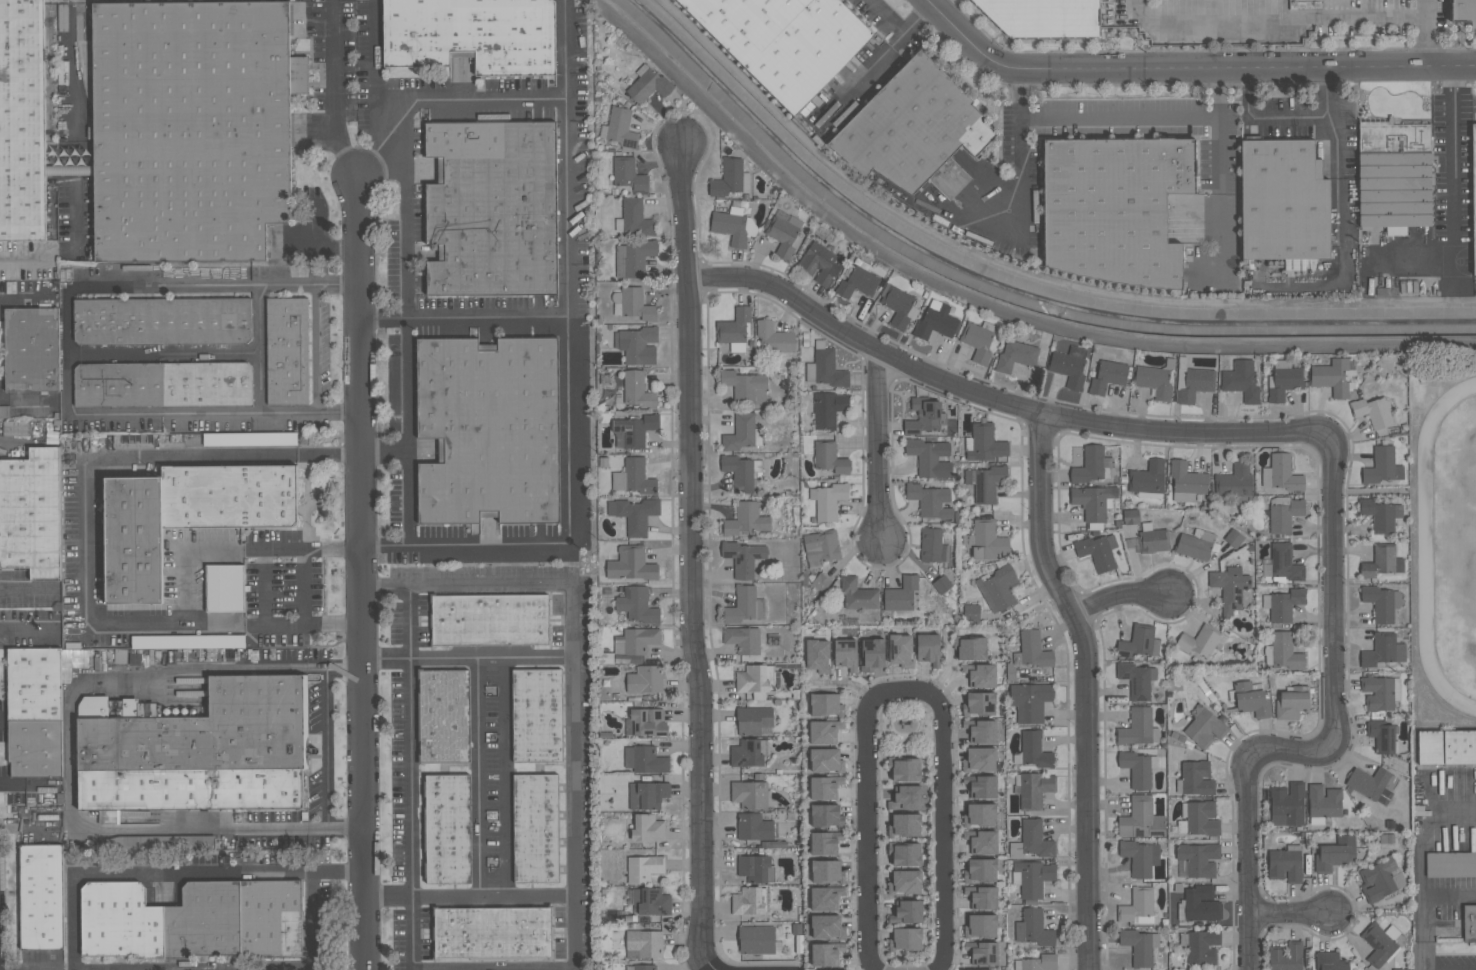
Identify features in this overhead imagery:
building: (1463, 12)
building: (1044, 18)
road: (1277, 18)
road: (901, 24)
road: (1428, 32)
building: (472, 35)
road: (898, 35)
building: (784, 41)
road: (1188, 67)
road: (862, 75)
road: (1329, 76)
building: (648, 84)
road: (336, 92)
road: (437, 92)
road: (1454, 95)
road: (1093, 117)
road: (1265, 117)
railway: (52, 119)
building: (22, 120)
building: (912, 126)
building: (192, 128)
building: (620, 129)
building: (66, 162)
road: (1217, 170)
building: (628, 173)
building: (1394, 176)
building: (730, 177)
road: (1019, 177)
road: (1341, 182)
building: (1473, 195)
building: (1283, 201)
building: (492, 207)
building: (1115, 208)
road: (1452, 216)
building: (634, 218)
building: (734, 226)
building: (784, 234)
building: (633, 258)
road: (23, 260)
building: (820, 263)
building: (1291, 265)
road: (407, 267)
building: (857, 281)
road: (23, 300)
building: (632, 303)
road: (983, 303)
building: (899, 306)
road: (465, 319)
building: (162, 321)
building: (936, 321)
building: (735, 328)
building: (774, 337)
building: (978, 340)
building: (637, 344)
road: (315, 347)
road: (258, 348)
building: (31, 349)
road: (71, 350)
building: (287, 351)
building: (1016, 355)
road: (572, 356)
building: (1069, 366)
building: (825, 367)
building: (1108, 376)
building: (1333, 376)
building: (1282, 379)
building: (1241, 380)
building: (1154, 381)
building: (1191, 381)
building: (163, 383)
building: (745, 386)
building: (637, 390)
road: (994, 398)
road: (26, 405)
building: (828, 408)
building: (1373, 411)
building: (925, 415)
building: (633, 430)
building: (488, 431)
building: (742, 432)
building: (249, 439)
building: (984, 443)
road: (878, 444)
building: (929, 456)
building: (829, 457)
building: (1091, 465)
building: (1382, 465)
building: (738, 472)
building: (1280, 474)
building: (633, 476)
building: (1148, 479)
building: (1187, 481)
building: (986, 482)
building: (1235, 483)
road: (1377, 491)
road: (88, 494)
building: (828, 499)
building: (930, 500)
building: (1094, 503)
building: (31, 513)
building: (634, 514)
building: (1283, 514)
building: (1380, 514)
building: (185, 515)
building: (1131, 516)
building: (745, 519)
building: (1152, 538)
building: (1233, 538)
building: (986, 540)
building: (1197, 544)
building: (933, 545)
road: (385, 546)
building: (821, 547)
road: (190, 549)
building: (1097, 550)
building: (744, 557)
road: (690, 559)
building: (1382, 561)
building: (1284, 562)
building: (630, 563)
road: (360, 575)
building: (821, 582)
building: (941, 584)
road: (266, 586)
road: (301, 586)
building: (224, 587)
building: (998, 588)
building: (1230, 588)
road: (27, 589)
building: (901, 593)
building: (858, 594)
road: (1118, 594)
building: (1382, 602)
building: (637, 604)
building: (1283, 604)
building: (744, 605)
building: (971, 612)
building: (489, 619)
road: (27, 627)
building: (742, 639)
building: (635, 640)
building: (202, 641)
building: (1138, 642)
building: (1203, 642)
building: (928, 648)
building: (970, 648)
building: (900, 650)
building: (1032, 650)
building: (1383, 650)
building: (1283, 651)
building: (872, 653)
building: (845, 654)
building: (818, 655)
road: (468, 659)
road: (212, 668)
road: (575, 668)
building: (980, 674)
building: (645, 679)
building: (1137, 679)
building: (757, 680)
road: (1085, 686)
road: (903, 688)
building: (1380, 692)
building: (1250, 698)
building: (1030, 700)
building: (1291, 701)
building: (979, 703)
building: (825, 704)
building: (37, 708)
building: (443, 715)
building: (537, 716)
building: (754, 720)
building: (649, 721)
building: (1138, 727)
building: (1204, 727)
building: (981, 730)
building: (824, 731)
building: (1382, 736)
road: (1332, 740)
road: (325, 746)
building: (1446, 747)
building: (199, 750)
building: (1033, 750)
building: (748, 752)
building: (645, 759)
building: (979, 759)
building: (826, 760)
building: (1138, 768)
building: (905, 769)
road: (409, 776)
road: (505, 776)
road: (479, 777)
building: (1195, 778)
building: (1371, 784)
building: (981, 785)
building: (825, 787)
building: (1032, 788)
building: (647, 794)
building: (749, 794)
building: (906, 797)
building: (1323, 802)
building: (1287, 804)
building: (980, 814)
building: (825, 815)
building: (1141, 818)
building: (1199, 818)
building: (905, 825)
building: (753, 826)
building: (647, 827)
building: (447, 828)
building: (535, 828)
road: (250, 829)
building: (1032, 840)
building: (981, 841)
building: (182, 842)
building: (825, 842)
building: (905, 853)
building: (1335, 853)
building: (1139, 857)
building: (1199, 859)
building: (1285, 863)
building: (1450, 863)
building: (644, 867)
building: (756, 868)
building: (980, 869)
building: (826, 871)
road: (174, 875)
building: (1032, 877)
building: (1380, 879)
building: (905, 881)
road: (470, 895)
building: (41, 896)
building: (982, 897)
building: (825, 898)
building: (749, 900)
building: (650, 901)
building: (1198, 904)
road: (1425, 905)
building: (1137, 906)
building: (909, 910)
road: (1289, 912)
building: (193, 920)
road: (310, 921)
building: (1469, 923)
building: (981, 925)
building: (827, 926)
building: (1033, 927)
building: (493, 932)
building: (906, 938)
building: (756, 939)
building: (643, 943)
building: (1380, 943)
building: (1139, 945)
building: (1200, 945)
building: (983, 952)
building: (826, 953)
building: (1285, 956)
building: (1330, 961)
building: (1036, 962)
road: (28, 966)
building: (641, 967)
road: (537, 969)
building: (982, 969)
building: (1401, 969)

